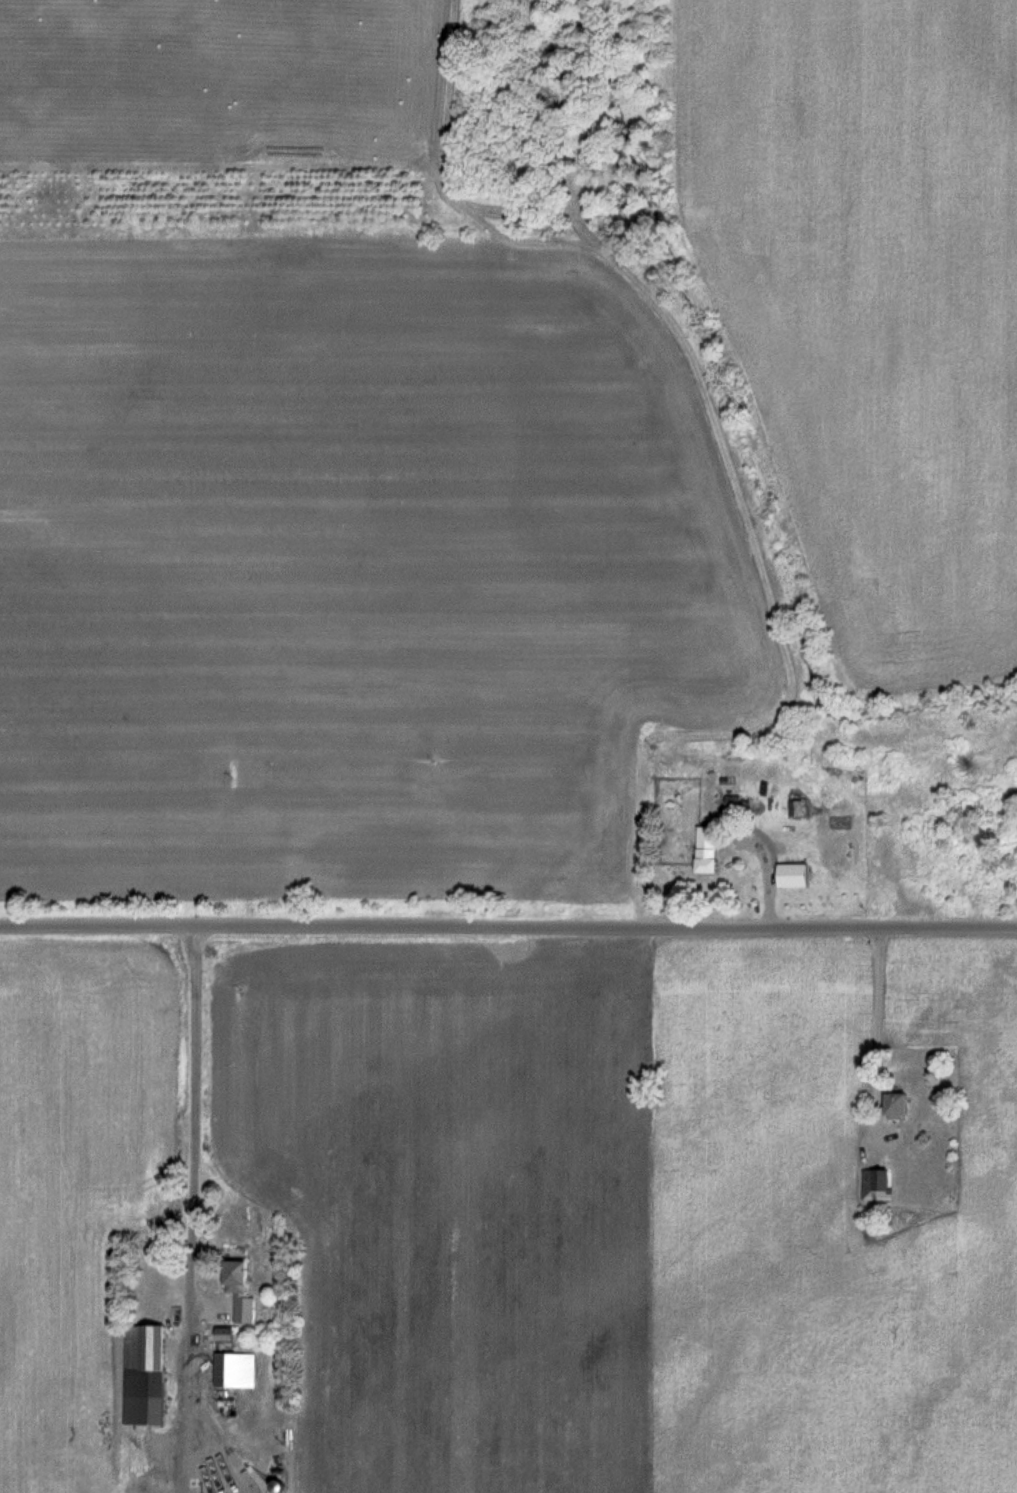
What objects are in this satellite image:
building: (841, 843)
building: (712, 854)
road: (508, 926)
road: (873, 1034)
building: (902, 1105)
road: (194, 1153)
building: (879, 1180)
building: (245, 1289)
building: (230, 1334)
building: (238, 1370)
building: (149, 1375)

